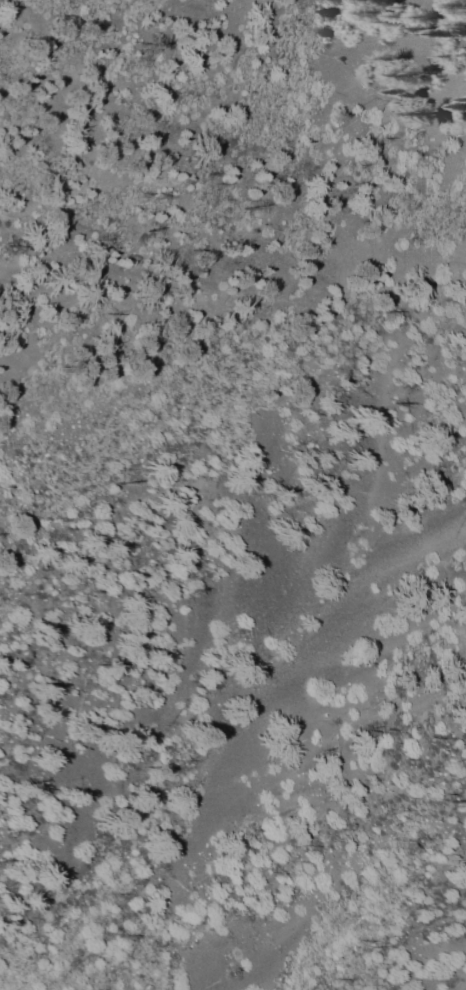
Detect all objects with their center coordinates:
road: (284, 501)

